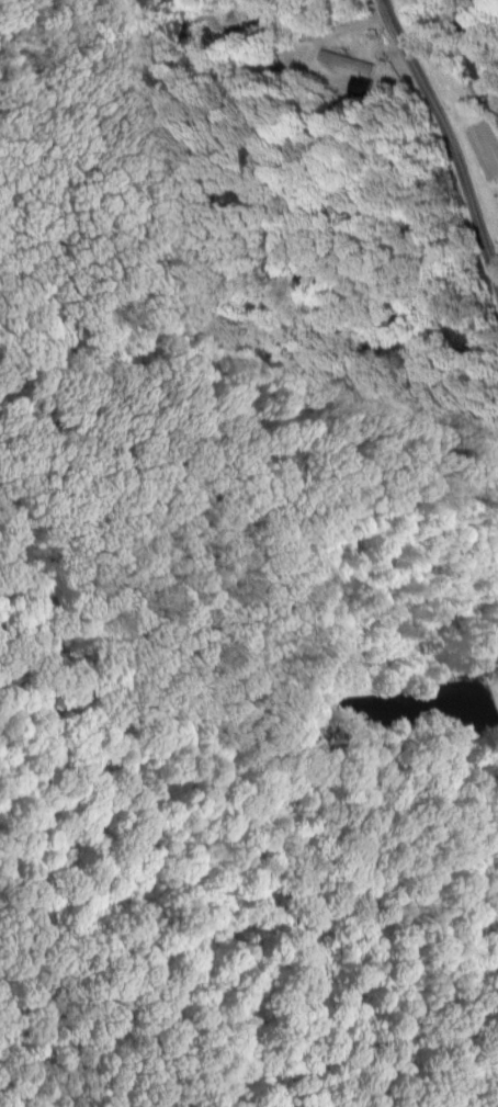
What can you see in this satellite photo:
building: (350, 67)
road: (448, 135)
road: (494, 253)

